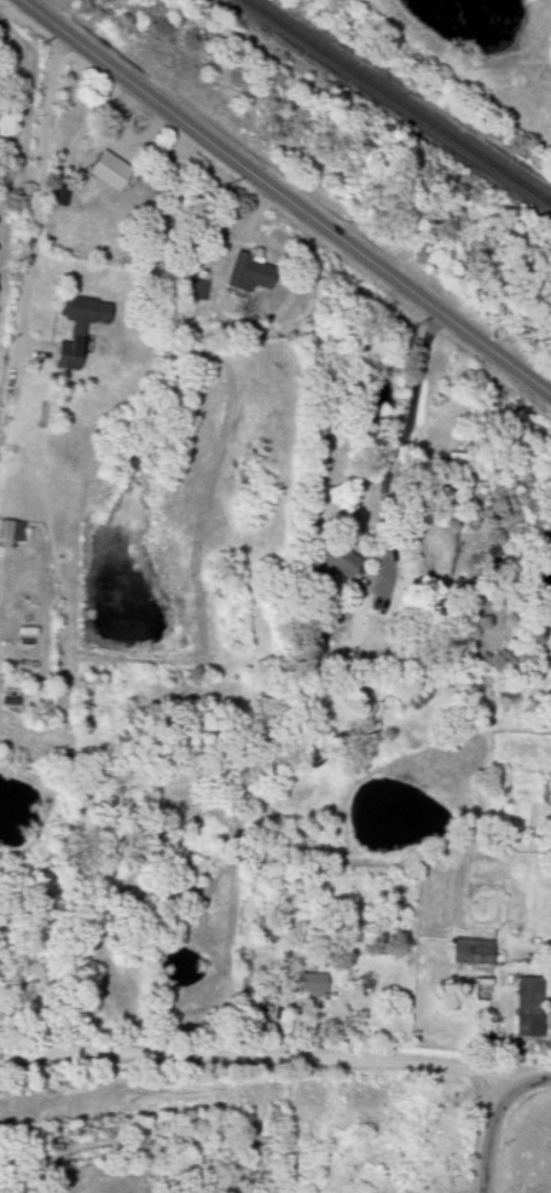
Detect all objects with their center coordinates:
railway: (394, 104)
building: (104, 170)
road: (34, 185)
road: (284, 197)
building: (246, 272)
building: (188, 289)
building: (79, 330)
road: (402, 438)
building: (10, 534)
building: (336, 561)
building: (268, 934)
building: (469, 950)
building: (315, 983)
building: (526, 1006)
road: (507, 1043)
road: (274, 1062)
road: (486, 1134)

